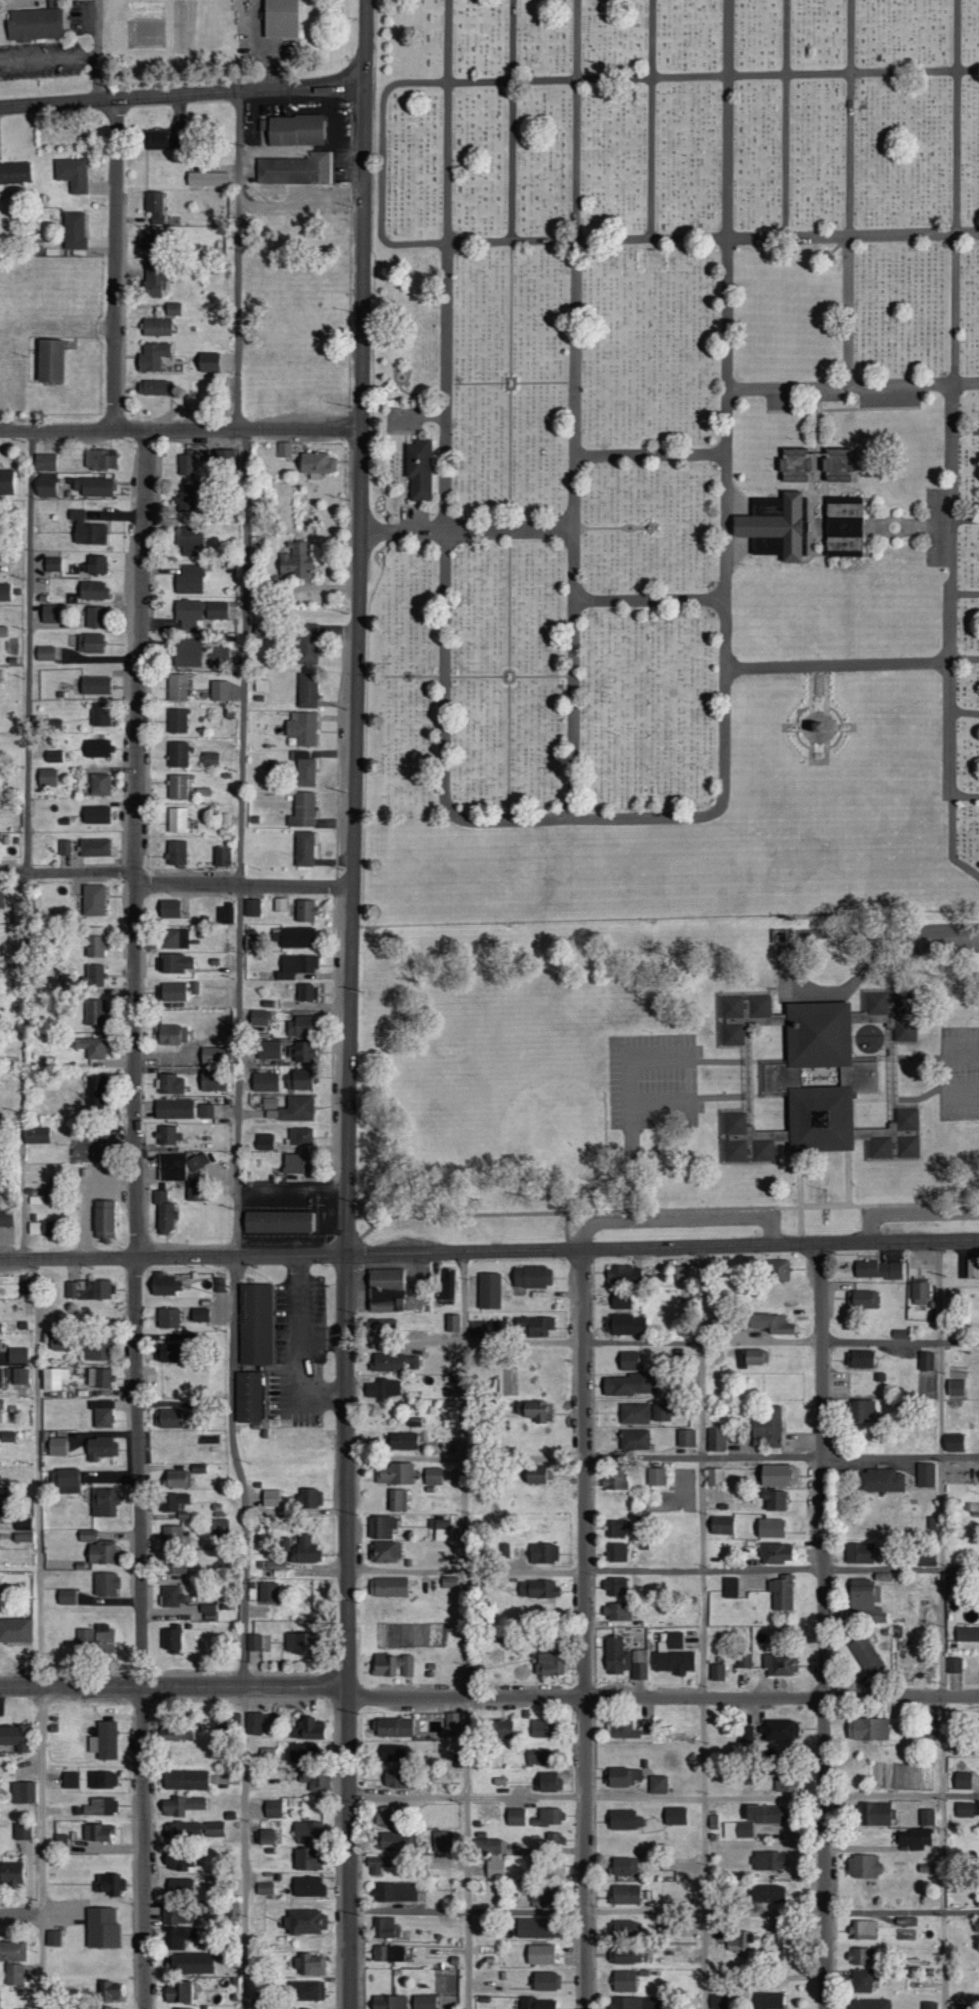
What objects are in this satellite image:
building: (280, 19)
building: (34, 24)
road: (260, 46)
road: (98, 50)
road: (714, 76)
road: (182, 94)
road: (786, 118)
road: (652, 120)
road: (513, 121)
building: (294, 130)
building: (155, 139)
road: (381, 165)
building: (293, 170)
building: (14, 172)
building: (71, 173)
building: (206, 178)
road: (850, 193)
building: (155, 206)
building: (72, 229)
road: (713, 239)
building: (150, 242)
road: (237, 260)
road: (115, 264)
building: (154, 282)
building: (172, 309)
building: (156, 326)
building: (152, 356)
building: (50, 361)
building: (207, 362)
road: (852, 385)
building: (152, 387)
road: (956, 398)
road: (727, 405)
road: (446, 406)
road: (575, 409)
road: (181, 429)
road: (967, 431)
building: (283, 450)
road: (651, 456)
building: (224, 459)
park: (674, 459)
building: (99, 460)
building: (44, 462)
building: (186, 463)
building: (794, 463)
building: (837, 463)
building: (315, 464)
building: (422, 467)
building: (6, 481)
building: (45, 486)
building: (92, 486)
building: (185, 501)
road: (967, 520)
building: (776, 524)
building: (844, 525)
building: (87, 529)
road: (467, 531)
building: (190, 541)
building: (295, 561)
building: (51, 564)
building: (96, 564)
building: (189, 579)
building: (92, 590)
building: (5, 592)
road: (967, 594)
road: (650, 601)
building: (199, 613)
building: (94, 617)
road: (359, 628)
building: (91, 643)
building: (307, 644)
building: (188, 652)
building: (44, 653)
building: (219, 656)
road: (851, 663)
building: (95, 685)
building: (261, 685)
building: (177, 687)
road: (819, 688)
building: (219, 690)
building: (307, 691)
road: (966, 712)
building: (100, 715)
building: (177, 720)
building: (820, 722)
building: (301, 728)
building: (96, 748)
building: (178, 755)
building: (53, 756)
building: (210, 760)
building: (304, 770)
building: (49, 776)
building: (99, 785)
building: (178, 787)
road: (966, 796)
building: (302, 809)
building: (96, 815)
road: (584, 819)
building: (177, 820)
road: (953, 842)
road: (26, 845)
building: (64, 848)
building: (94, 848)
building: (304, 849)
building: (177, 852)
building: (222, 856)
road: (66, 872)
road: (243, 886)
building: (91, 900)
building: (1, 901)
building: (279, 905)
building: (252, 907)
building: (169, 909)
building: (305, 911)
building: (224, 915)
road: (938, 929)
building: (933, 934)
building: (297, 938)
building: (174, 939)
building: (94, 942)
road: (876, 952)
building: (175, 963)
building: (296, 966)
building: (93, 976)
building: (194, 988)
building: (173, 992)
building: (307, 993)
building: (95, 1012)
building: (259, 1018)
building: (300, 1026)
building: (170, 1035)
building: (37, 1043)
road: (960, 1046)
building: (90, 1047)
building: (269, 1050)
building: (302, 1053)
road: (675, 1055)
building: (212, 1056)
road: (915, 1056)
road: (724, 1059)
park: (516, 1070)
building: (818, 1078)
building: (298, 1080)
building: (212, 1081)
building: (266, 1082)
building: (171, 1085)
building: (94, 1092)
road: (724, 1094)
road: (959, 1094)
road: (900, 1097)
building: (289, 1108)
building: (174, 1109)
building: (206, 1111)
building: (167, 1134)
building: (36, 1135)
building: (301, 1137)
building: (264, 1142)
building: (296, 1164)
building: (179, 1166)
road: (633, 1172)
road: (848, 1178)
building: (46, 1195)
road: (799, 1198)
road: (662, 1209)
building: (164, 1212)
road: (910, 1212)
road: (681, 1217)
building: (6, 1218)
road: (135, 1218)
building: (104, 1220)
road: (236, 1220)
building: (278, 1222)
building: (43, 1228)
road: (662, 1246)
road: (173, 1257)
building: (972, 1268)
building: (778, 1270)
building: (878, 1270)
building: (685, 1273)
building: (624, 1274)
building: (531, 1277)
building: (25, 1283)
building: (165, 1285)
building: (446, 1285)
building: (89, 1289)
building: (385, 1290)
building: (489, 1291)
building: (920, 1293)
building: (864, 1300)
building: (622, 1301)
building: (200, 1315)
building: (168, 1318)
building: (452, 1323)
building: (256, 1324)
building: (770, 1324)
building: (624, 1325)
building: (382, 1326)
building: (0, 1327)
building: (533, 1328)
building: (478, 1330)
building: (902, 1333)
road: (323, 1339)
road: (662, 1340)
building: (58, 1342)
building: (98, 1350)
road: (299, 1350)
building: (165, 1352)
building: (17, 1354)
building: (754, 1357)
building: (860, 1359)
building: (628, 1361)
building: (926, 1361)
building: (395, 1363)
building: (17, 1375)
building: (100, 1377)
building: (1, 1378)
building: (51, 1378)
building: (628, 1385)
building: (956, 1388)
building: (383, 1389)
building: (249, 1396)
building: (1, 1407)
building: (861, 1410)
building: (534, 1411)
building: (660, 1412)
building: (102, 1413)
building: (635, 1413)
building: (168, 1417)
building: (768, 1425)
building: (7, 1436)
building: (686, 1437)
building: (716, 1439)
building: (634, 1440)
building: (401, 1441)
building: (953, 1443)
building: (56, 1446)
building: (100, 1447)
road: (663, 1456)
building: (395, 1473)
building: (535, 1474)
building: (778, 1474)
building: (925, 1474)
building: (656, 1475)
building: (433, 1476)
building: (714, 1476)
building: (177, 1478)
building: (614, 1478)
building: (65, 1480)
building: (881, 1480)
building: (270, 1497)
building: (309, 1498)
building: (173, 1500)
building: (397, 1500)
building: (774, 1500)
building: (104, 1501)
building: (0, 1510)
building: (721, 1524)
building: (219, 1526)
building: (381, 1527)
building: (771, 1527)
building: (617, 1528)
building: (23, 1529)
building: (441, 1529)
building: (172, 1533)
building: (87, 1535)
building: (303, 1549)
building: (385, 1551)
building: (101, 1552)
building: (617, 1552)
building: (775, 1552)
building: (543, 1553)
building: (859, 1553)
building: (926, 1557)
building: (734, 1561)
building: (177, 1567)
road: (663, 1570)
building: (449, 1582)
building: (105, 1583)
building: (615, 1585)
building: (387, 1586)
building: (731, 1587)
building: (538, 1588)
building: (267, 1592)
building: (781, 1592)
building: (66, 1596)
building: (172, 1596)
building: (861, 1596)
building: (207, 1607)
building: (617, 1611)
building: (209, 1617)
road: (824, 1625)
road: (942, 1625)
road: (704, 1627)
road: (585, 1628)
building: (15, 1630)
road: (465, 1631)
road: (348, 1632)
road: (42, 1633)
building: (967, 1633)
building: (96, 1637)
building: (170, 1639)
building: (254, 1642)
building: (299, 1642)
building: (673, 1654)
building: (616, 1655)
building: (866, 1655)
building: (640, 1656)
building: (744, 1660)
building: (550, 1663)
building: (779, 1663)
building: (392, 1664)
building: (954, 1664)
building: (717, 1671)
road: (488, 1697)
building: (254, 1723)
building: (452, 1723)
building: (930, 1725)
building: (393, 1727)
building: (307, 1728)
building: (499, 1728)
building: (540, 1728)
building: (630, 1728)
building: (867, 1728)
building: (780, 1730)
building: (746, 1733)
building: (14, 1737)
building: (106, 1739)
building: (302, 1750)
building: (392, 1752)
building: (268, 1753)
building: (539, 1756)
building: (624, 1776)
building: (395, 1778)
building: (103, 1779)
building: (185, 1779)
building: (71, 1780)
building: (963, 1780)
building: (318, 1781)
building: (546, 1781)
building: (784, 1783)
building: (658, 1784)
building: (23, 1792)
road: (664, 1796)
building: (101, 1806)
building: (182, 1806)
building: (273, 1809)
building: (964, 1809)
building: (875, 1814)
building: (386, 1816)
building: (548, 1816)
building: (675, 1816)
building: (516, 1817)
building: (927, 1817)
building: (624, 1819)
building: (753, 1820)
building: (181, 1829)
building: (214, 1829)
building: (308, 1830)
building: (22, 1831)
building: (98, 1832)
building: (266, 1836)
building: (554, 1838)
building: (916, 1838)
building: (391, 1840)
building: (60, 1841)
building: (441, 1841)
building: (493, 1859)
building: (306, 1860)
building: (768, 1860)
building: (179, 1863)
building: (378, 1863)
building: (624, 1866)
building: (863, 1866)
building: (552, 1868)
building: (925, 1868)
building: (11, 1874)
building: (108, 1884)
building: (180, 1886)
building: (307, 1886)
building: (265, 1888)
building: (395, 1891)
building: (543, 1892)
building: (767, 1893)
building: (626, 1894)
road: (664, 1908)
building: (231, 1910)
road: (22, 1913)
building: (177, 1915)
building: (305, 1922)
building: (976, 1924)
building: (534, 1927)
building: (101, 1928)
building: (385, 1928)
building: (620, 1928)
building: (636, 1928)
building: (863, 1929)
building: (179, 1936)
building: (54, 1938)
building: (738, 1942)
building: (12, 1951)
building: (388, 1953)
building: (540, 1954)
building: (624, 1955)
building: (861, 1955)
building: (193, 1963)
building: (308, 1964)
building: (14, 1974)
building: (546, 1981)
building: (624, 1981)
building: (860, 1981)
building: (109, 1990)
building: (307, 1990)
building: (179, 1993)
building: (769, 2000)
building: (423, 2001)
building: (719, 2001)
building: (388, 2002)
building: (537, 2003)
building: (631, 2003)
building: (870, 2003)
building: (929, 2005)
building: (108, 2008)
building: (175, 2008)

